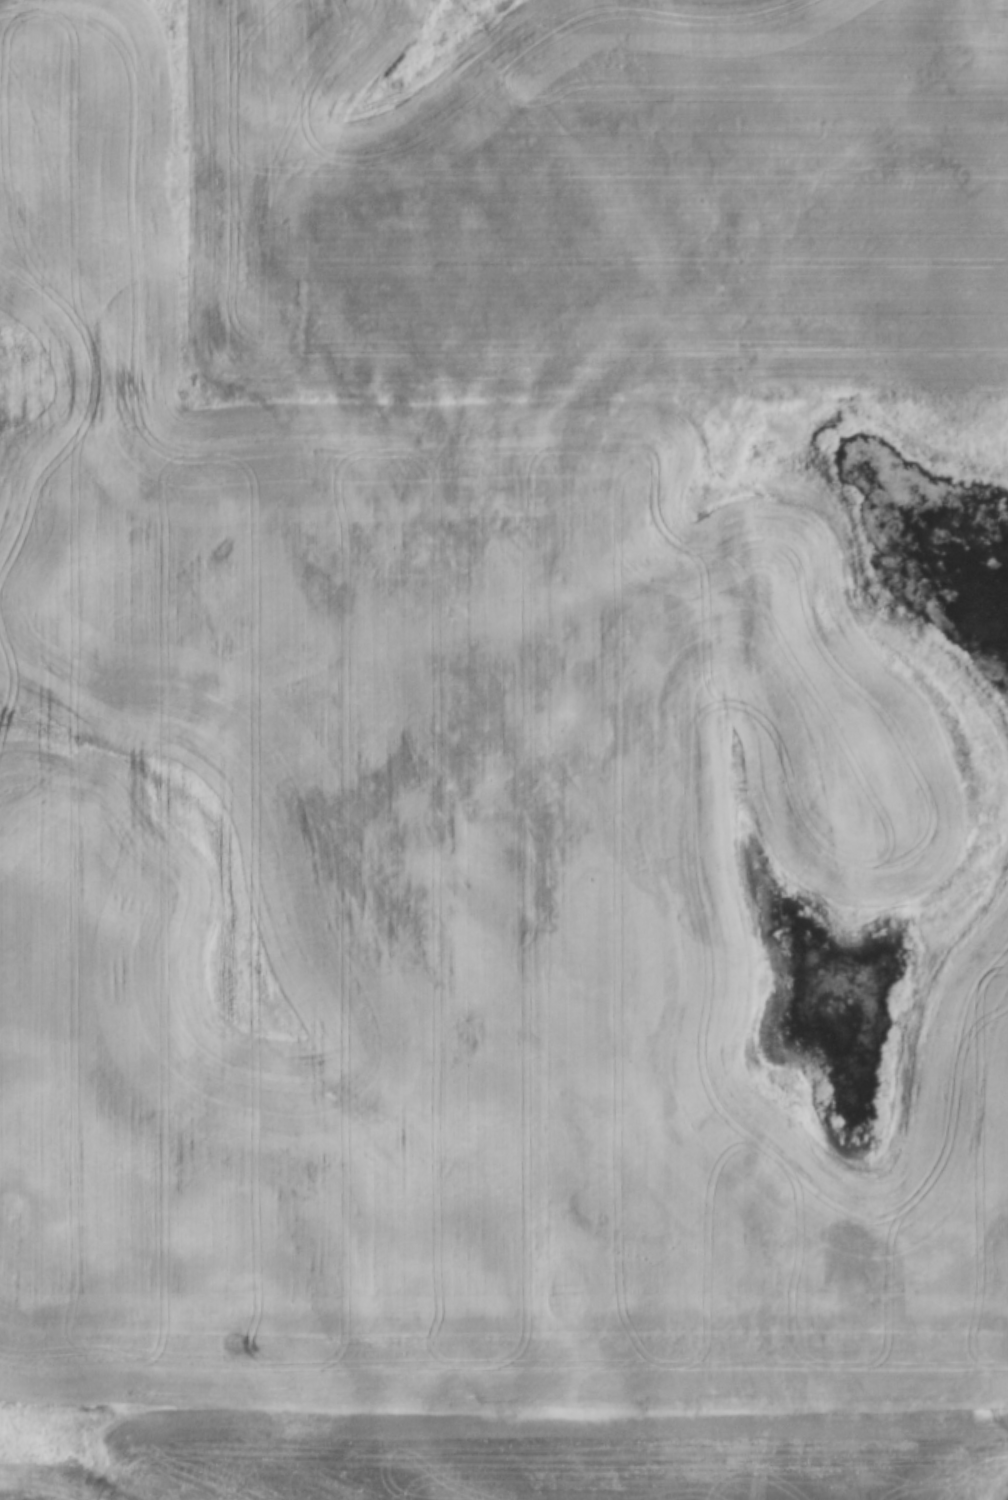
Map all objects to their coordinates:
road: (503, 1416)

